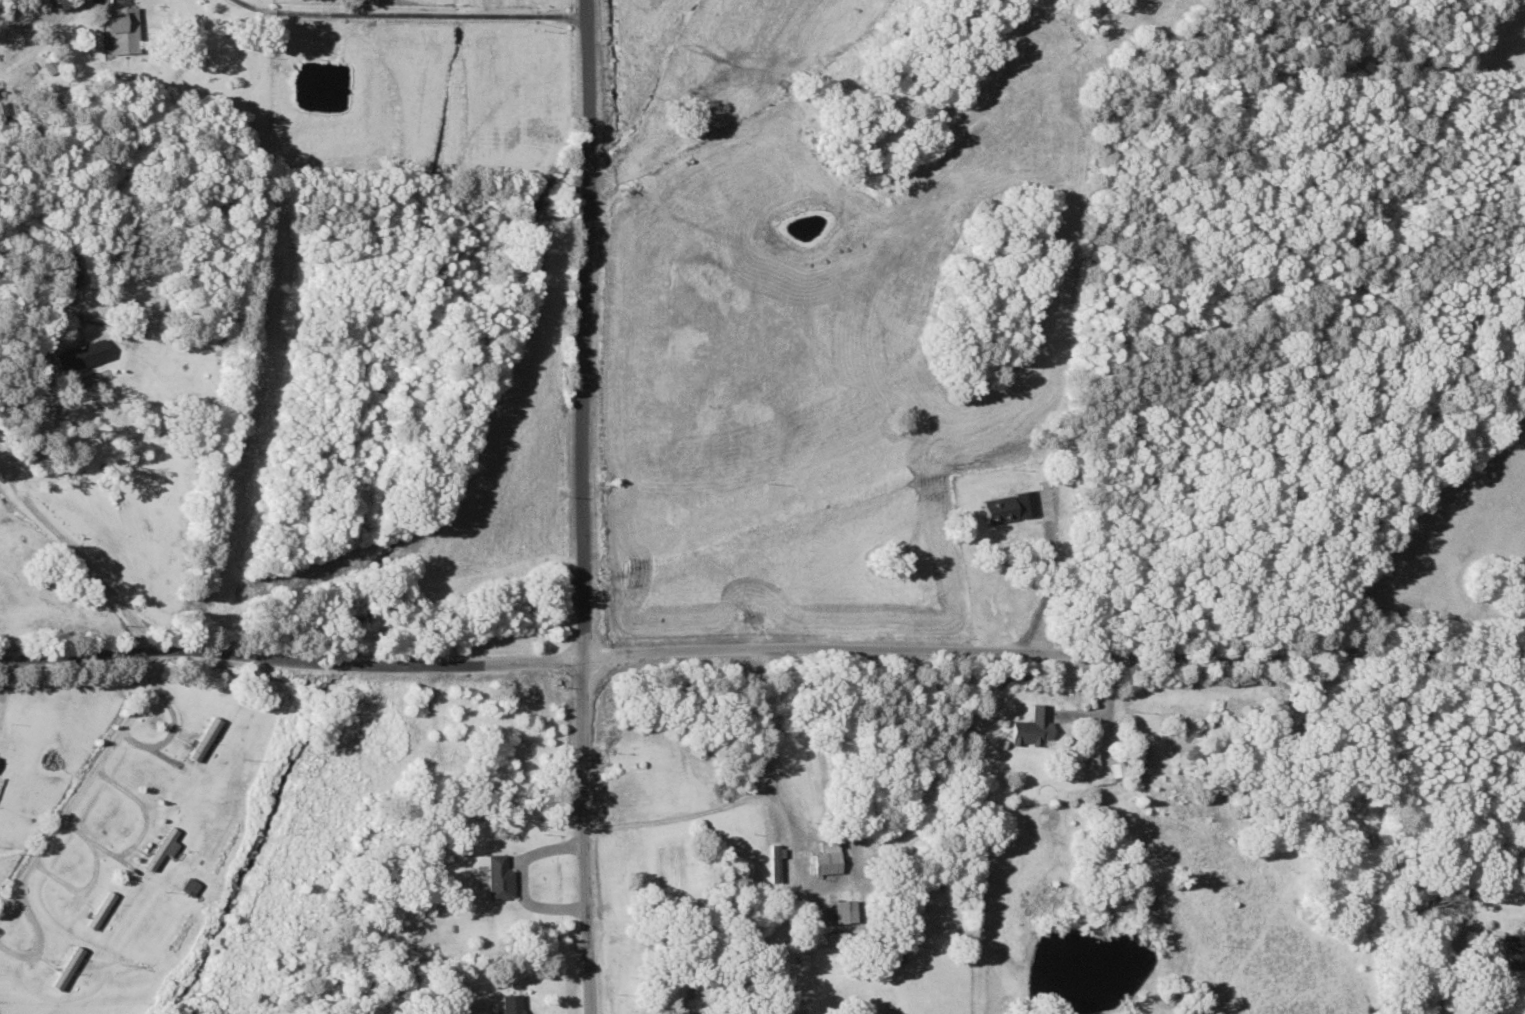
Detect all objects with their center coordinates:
building: (115, 32)
building: (59, 273)
building: (77, 357)
road: (584, 507)
building: (1001, 510)
road: (761, 647)
road: (672, 680)
building: (1026, 728)
building: (201, 740)
road: (84, 782)
building: (158, 849)
building: (823, 858)
building: (773, 872)
building: (496, 878)
building: (188, 887)
road: (1446, 898)
building: (1454, 900)
building: (99, 911)
building: (827, 914)
building: (894, 957)
building: (66, 969)
building: (503, 1005)
building: (681, 1013)

